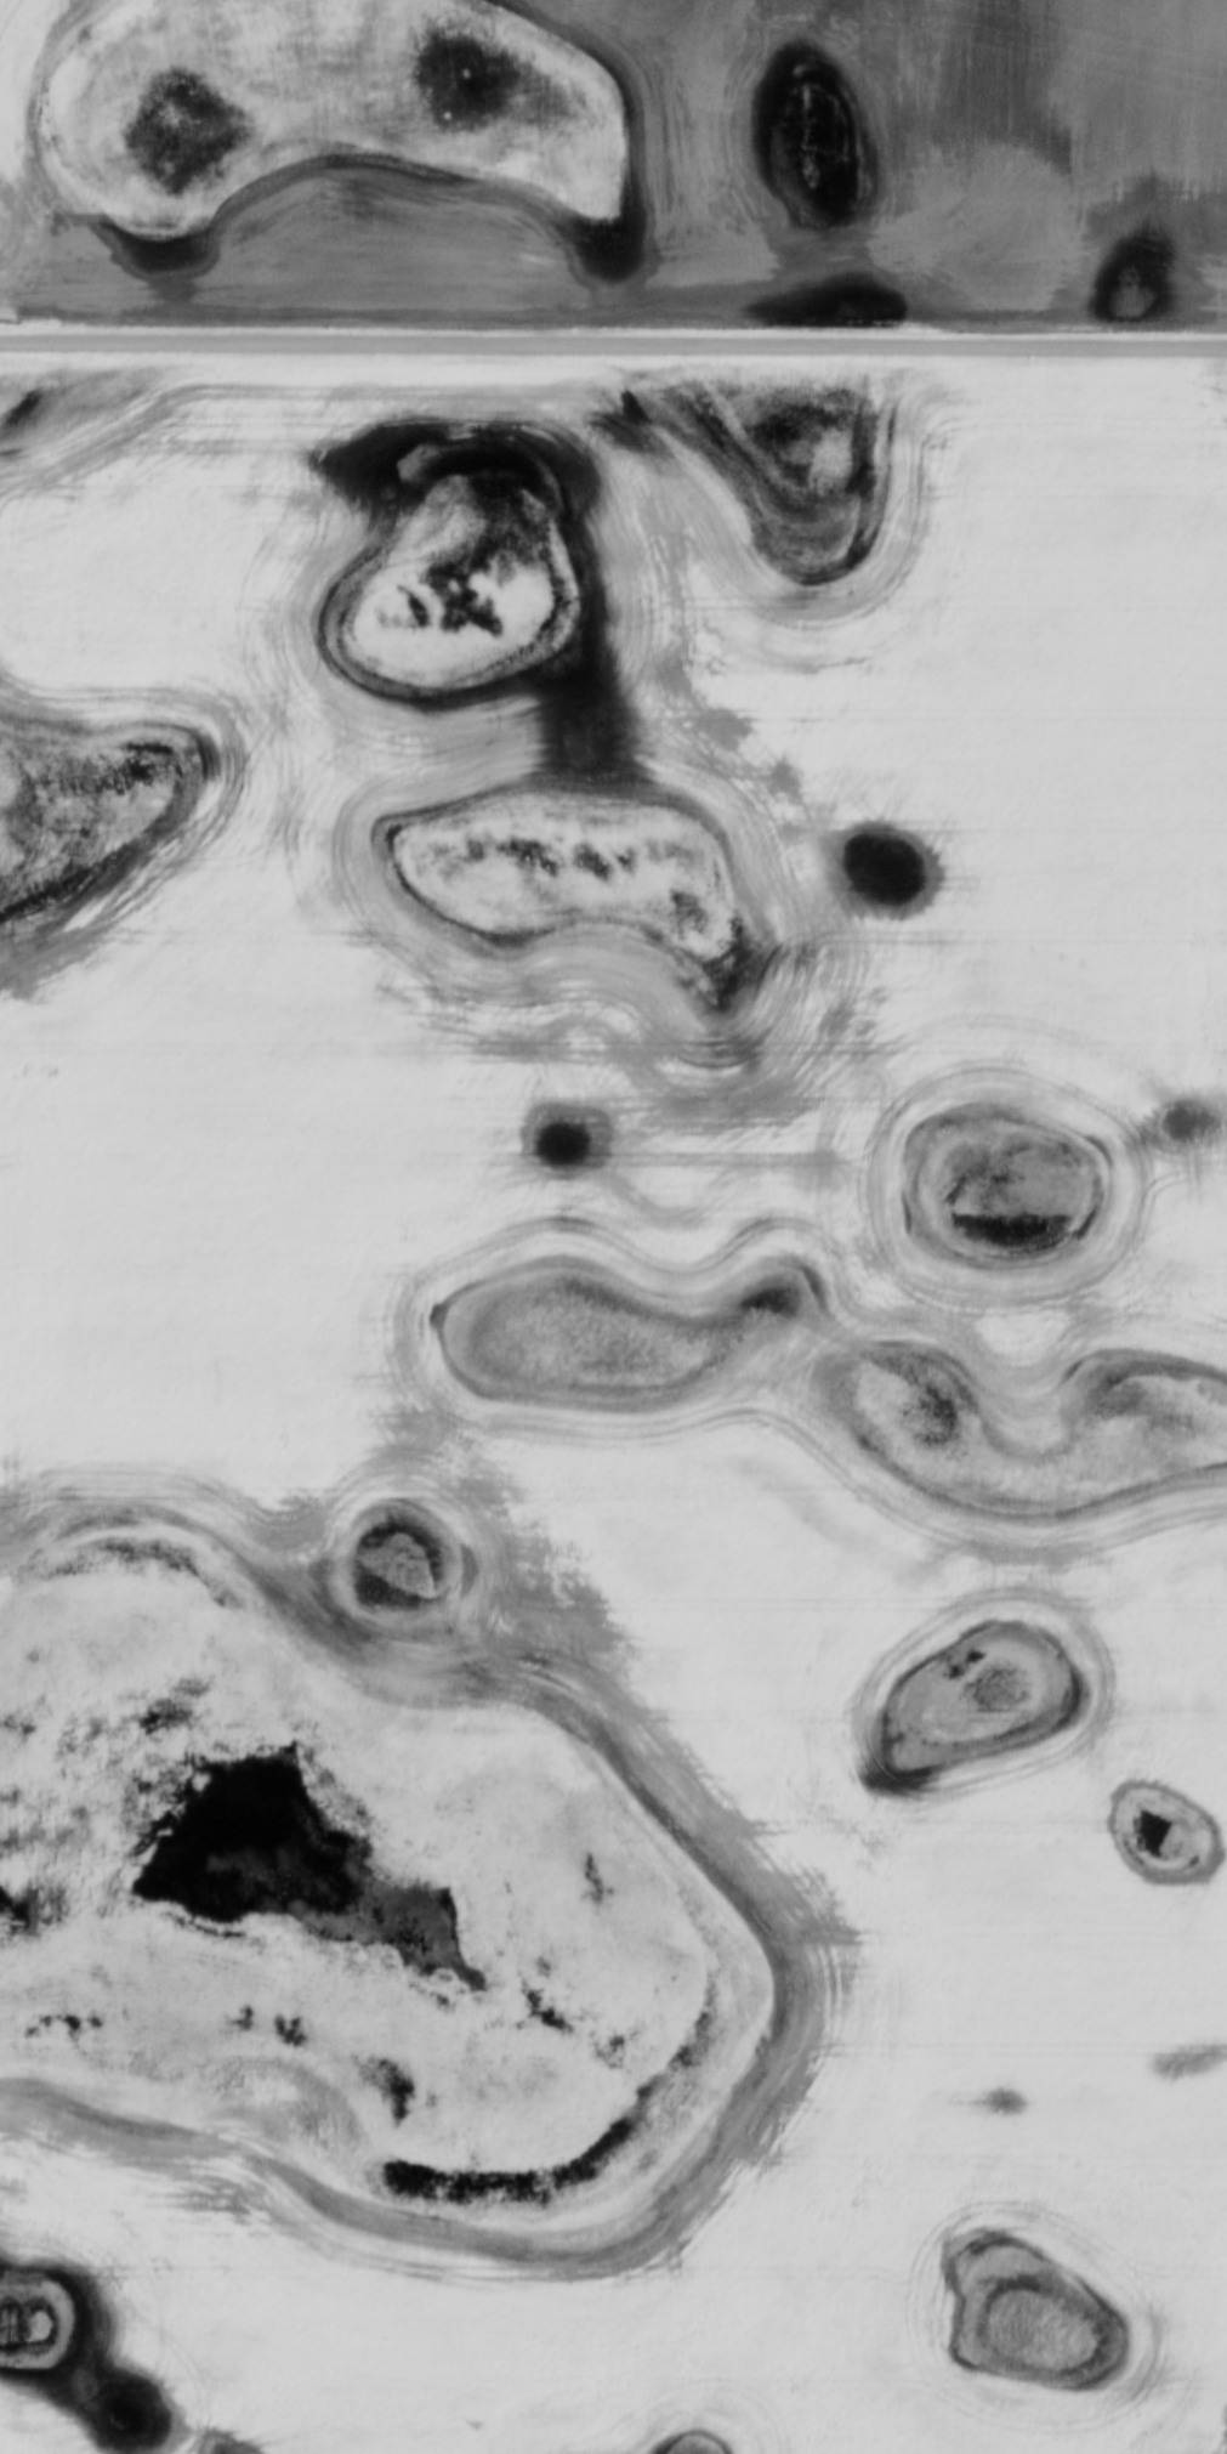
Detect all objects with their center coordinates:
road: (613, 348)

